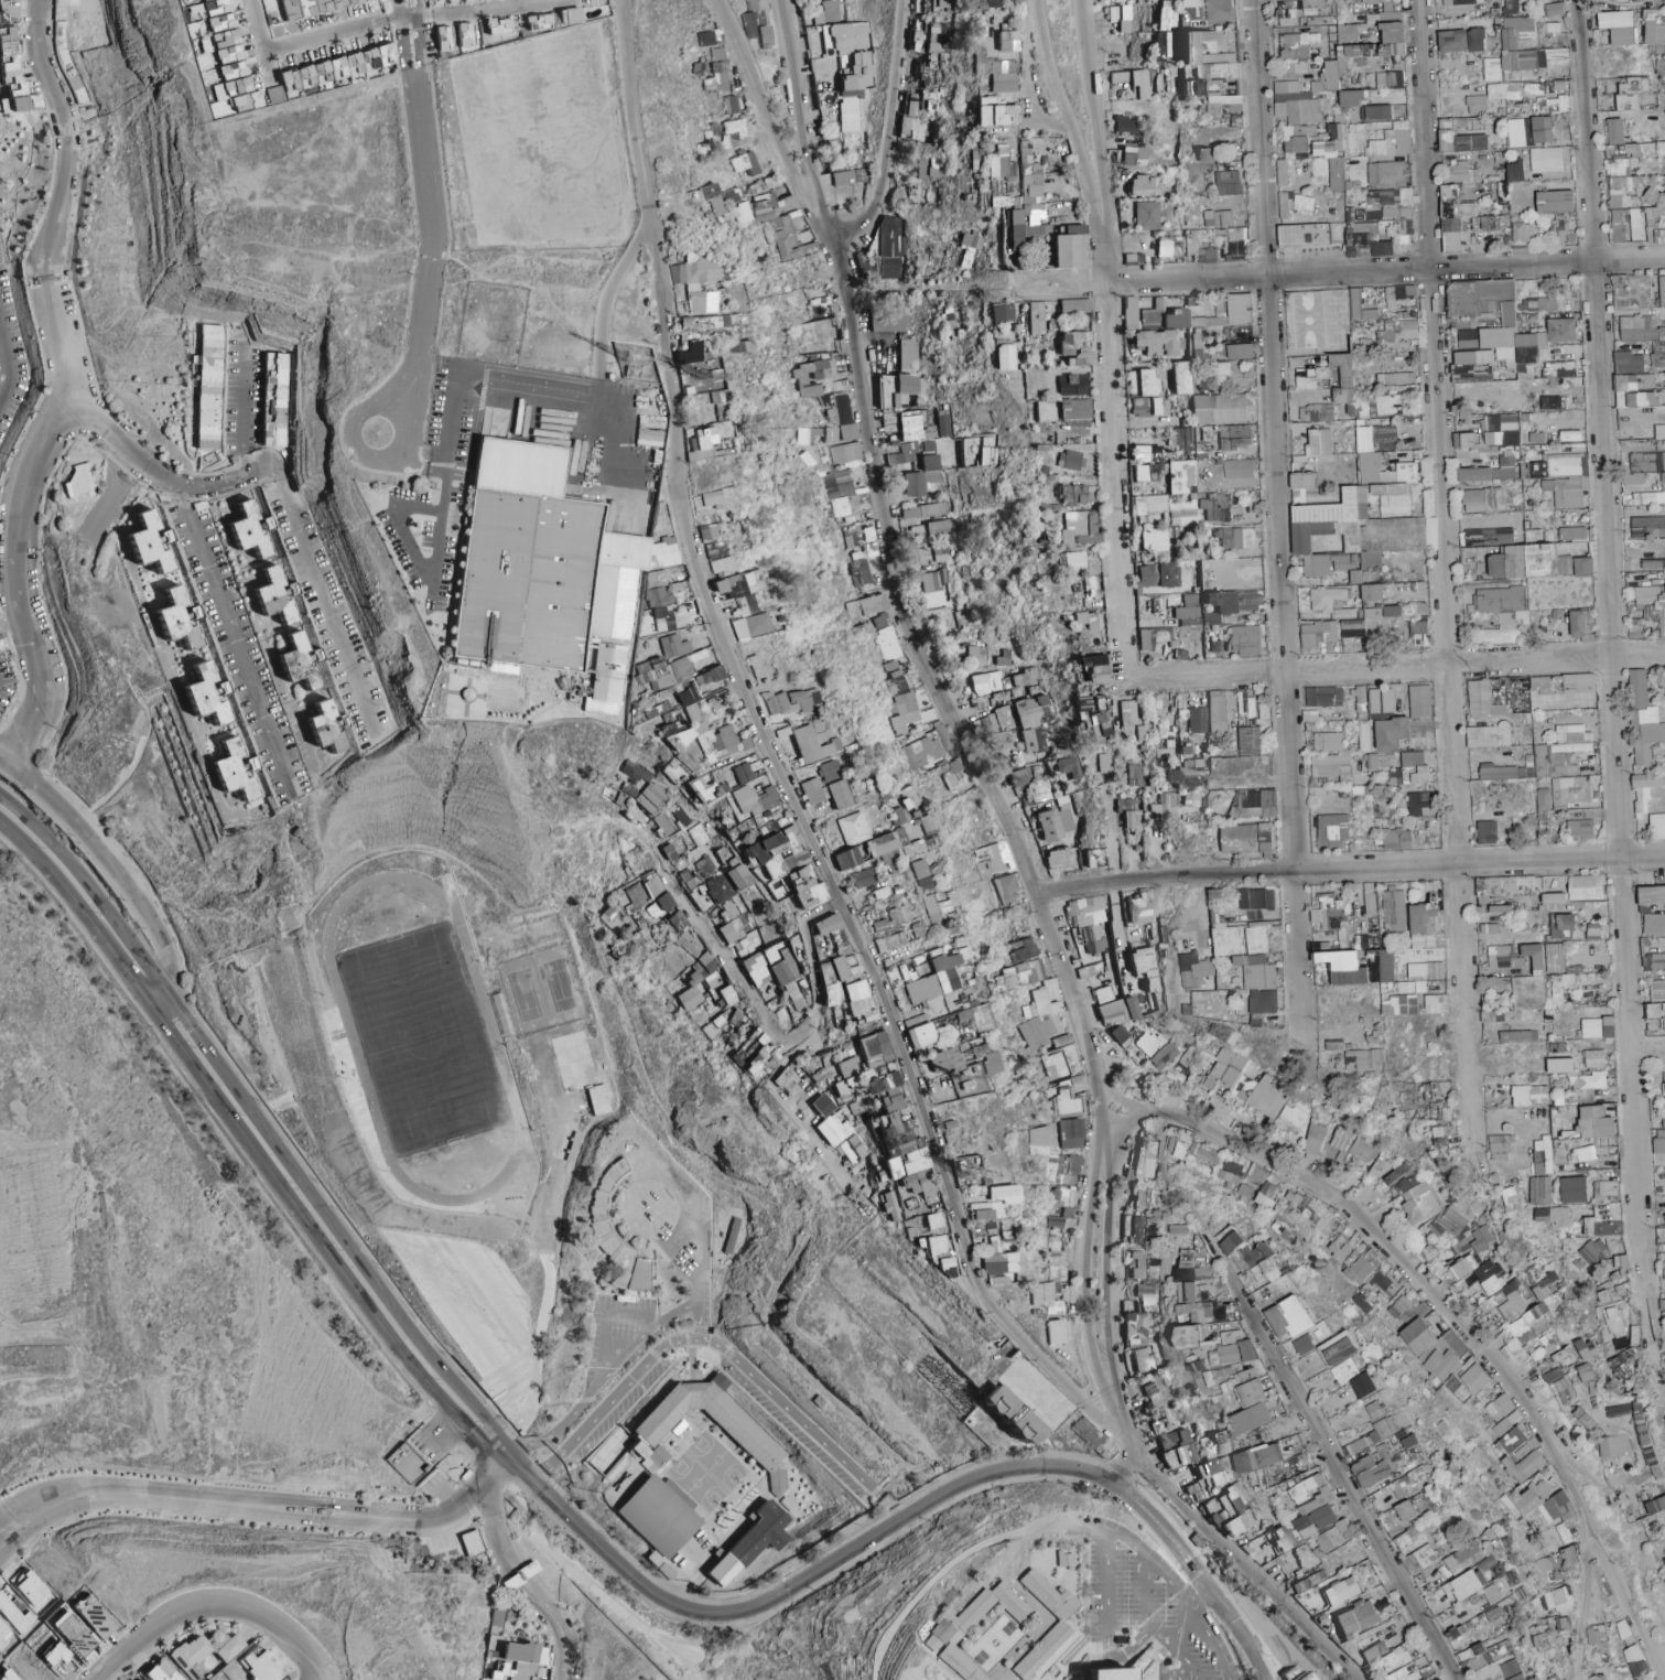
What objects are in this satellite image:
park: (537, 142)
park: (534, 992)
park: (420, 1035)
parking lot: (1183, 1587)
parking lot: (1142, 1604)
park: (995, 1638)

